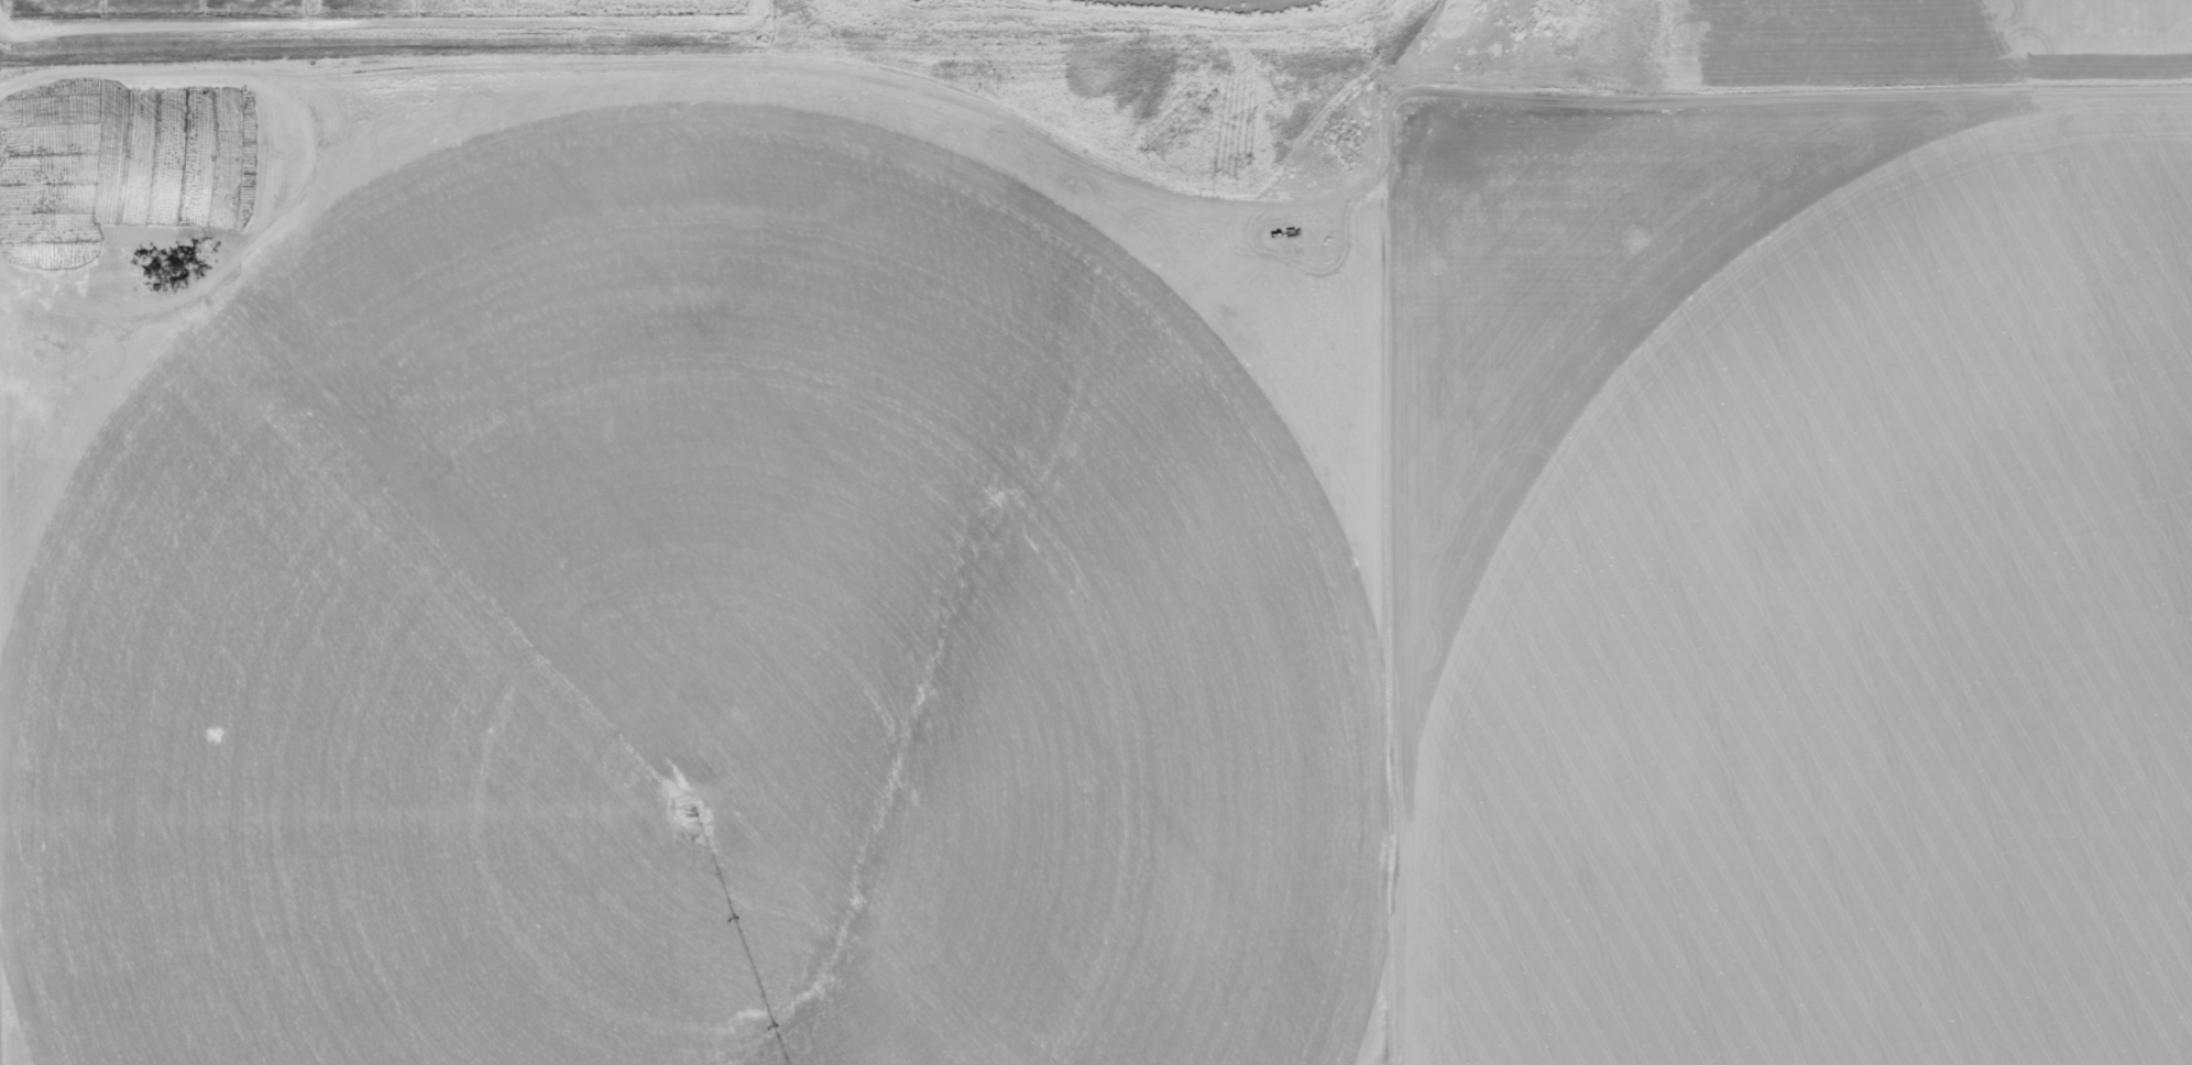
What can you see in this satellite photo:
road: (403, 41)
road: (1832, 87)

